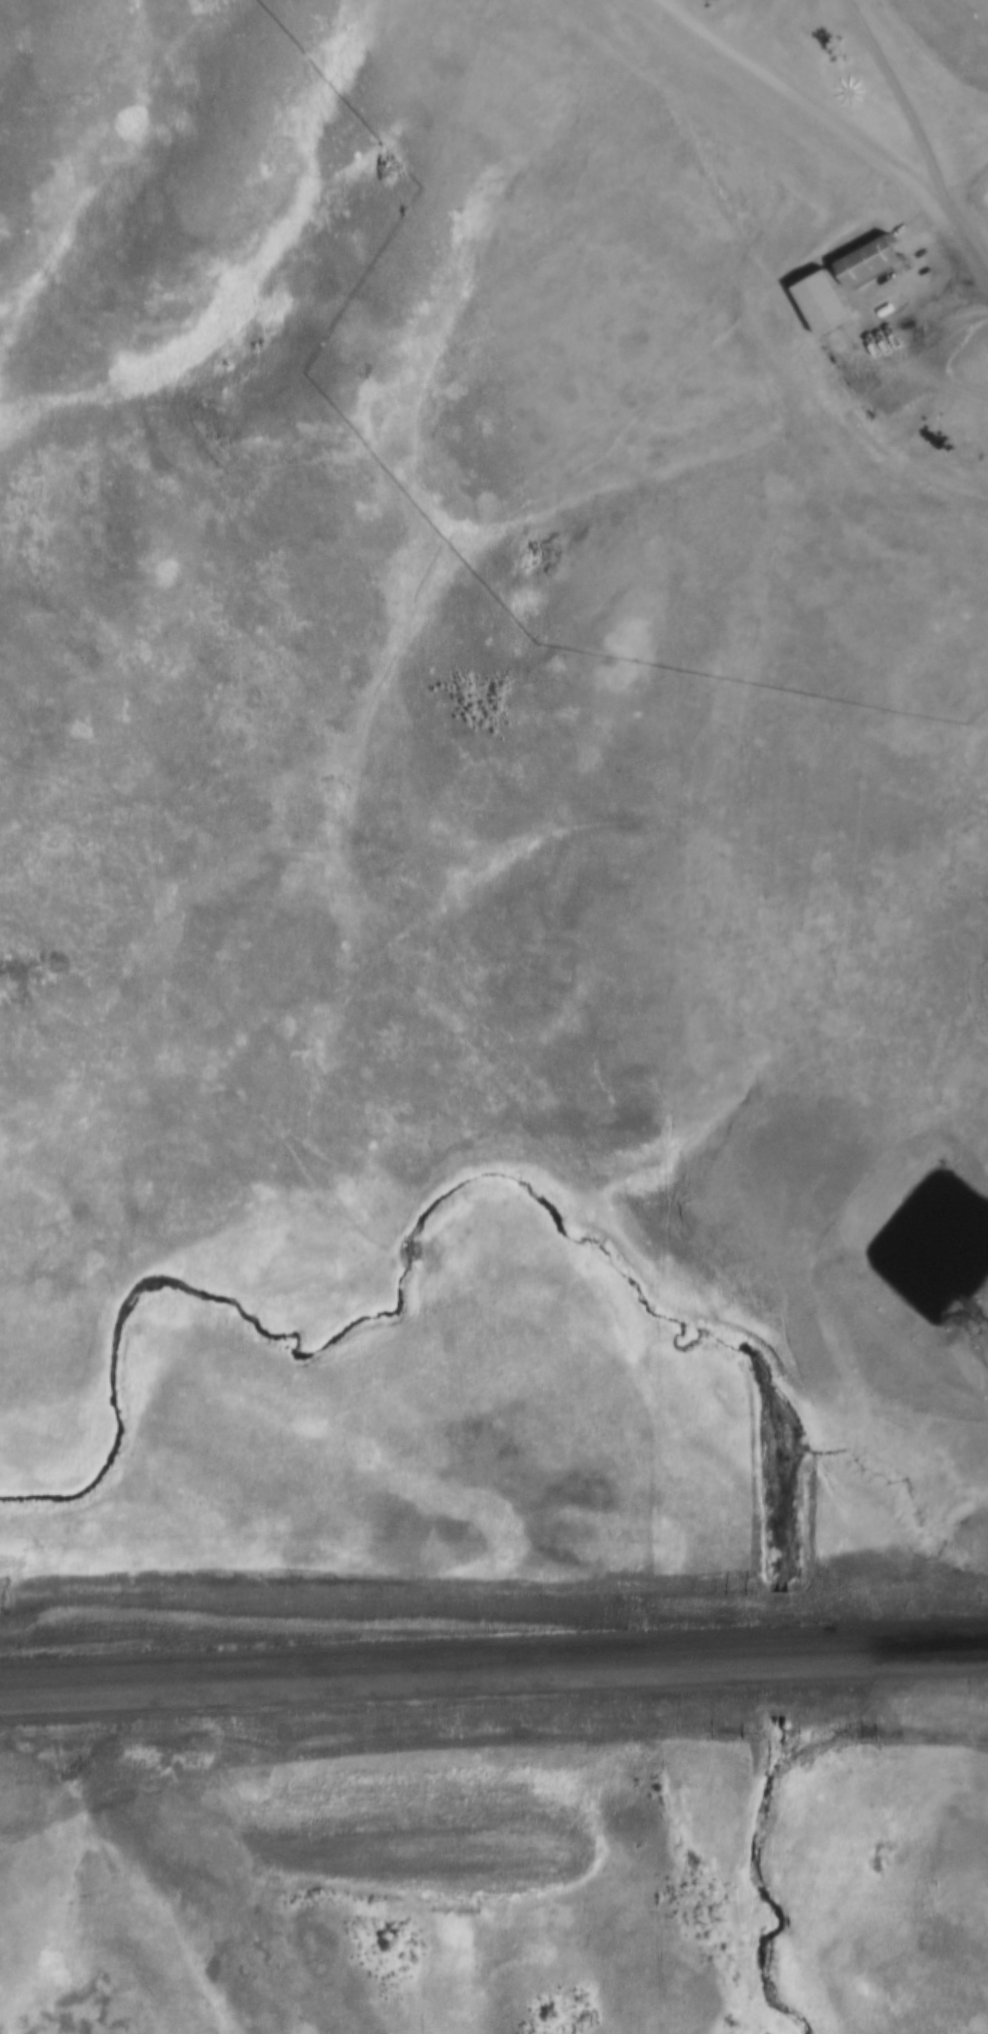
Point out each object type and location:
road: (842, 124)
power plant: (840, 229)
building: (871, 262)
building: (823, 302)
power plant: (852, 1466)

